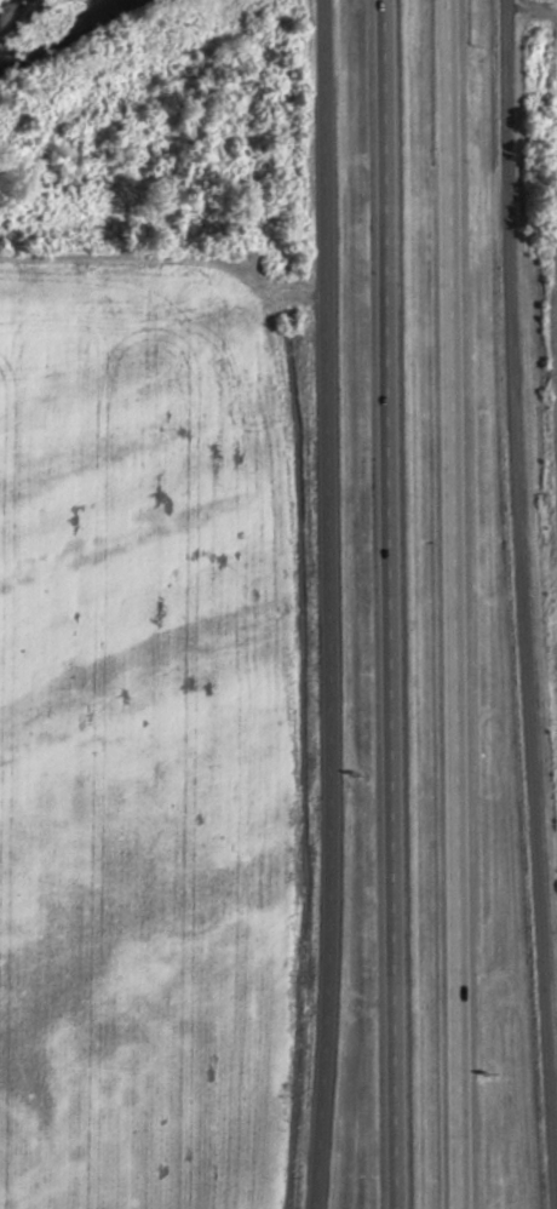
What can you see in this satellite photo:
road: (527, 563)
road: (391, 603)
road: (338, 604)
road: (458, 604)

